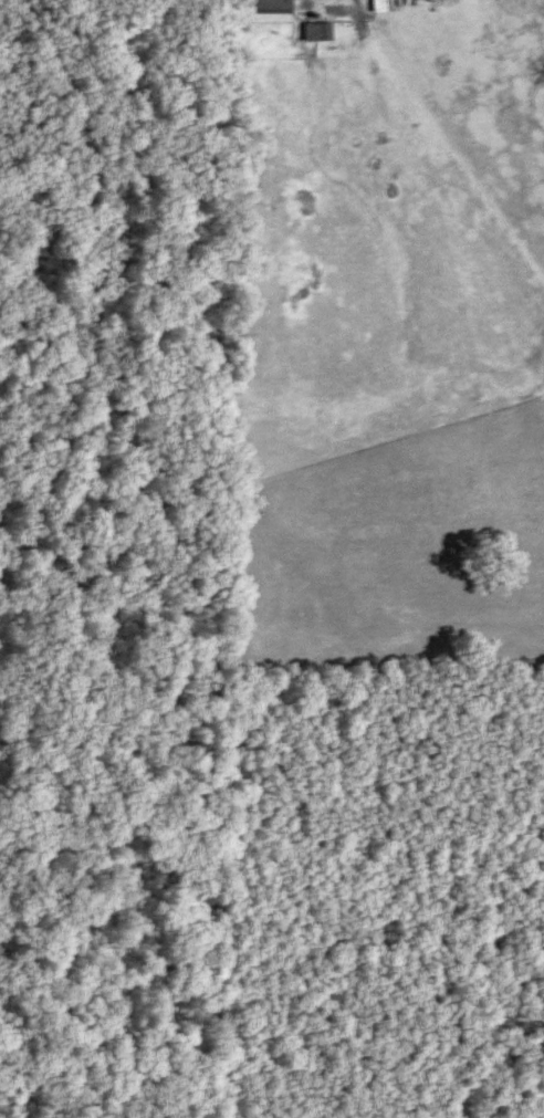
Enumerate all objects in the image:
building: (268, 6)
building: (375, 6)
building: (313, 32)
road: (97, 292)

